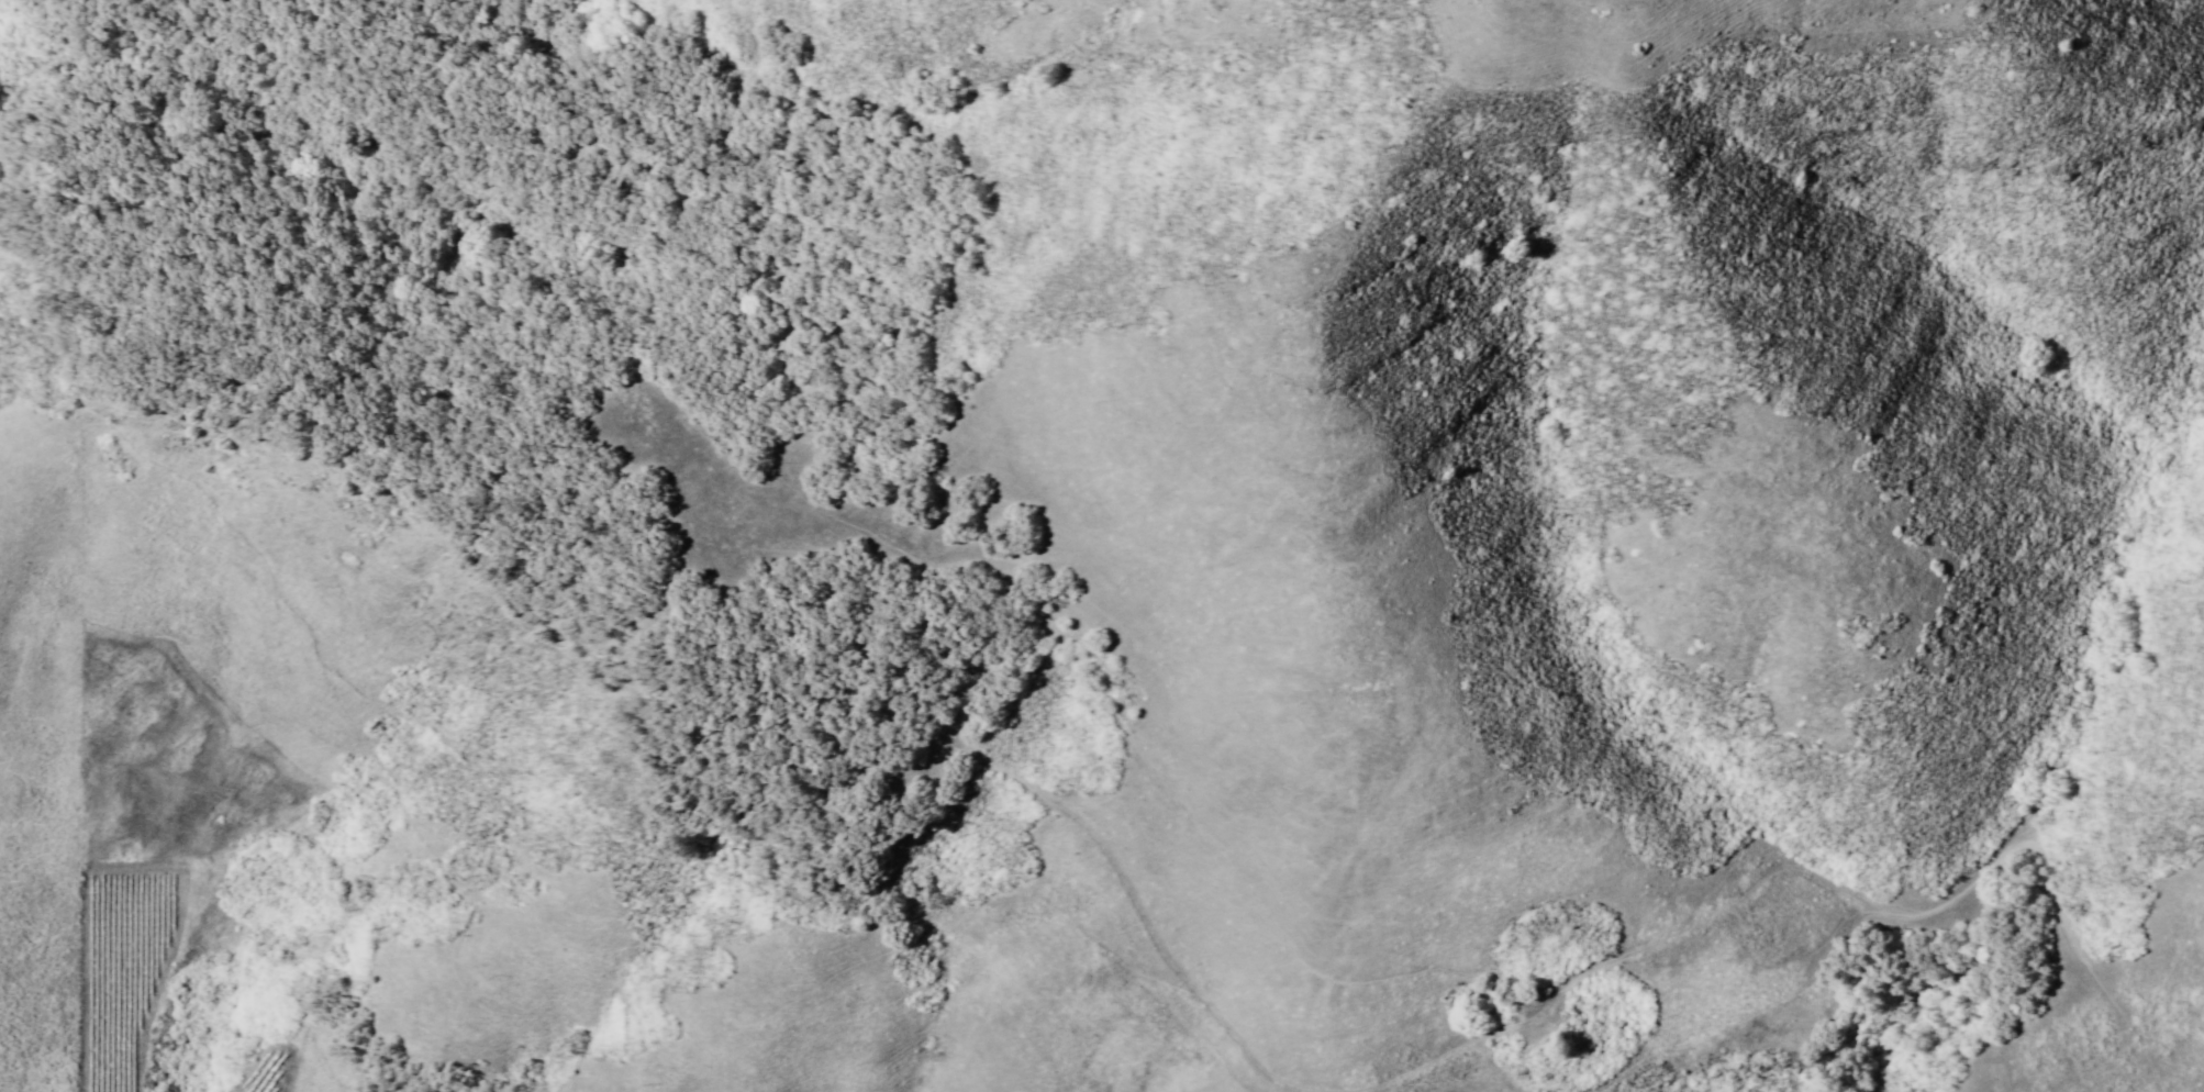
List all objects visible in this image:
road: (1172, 956)

